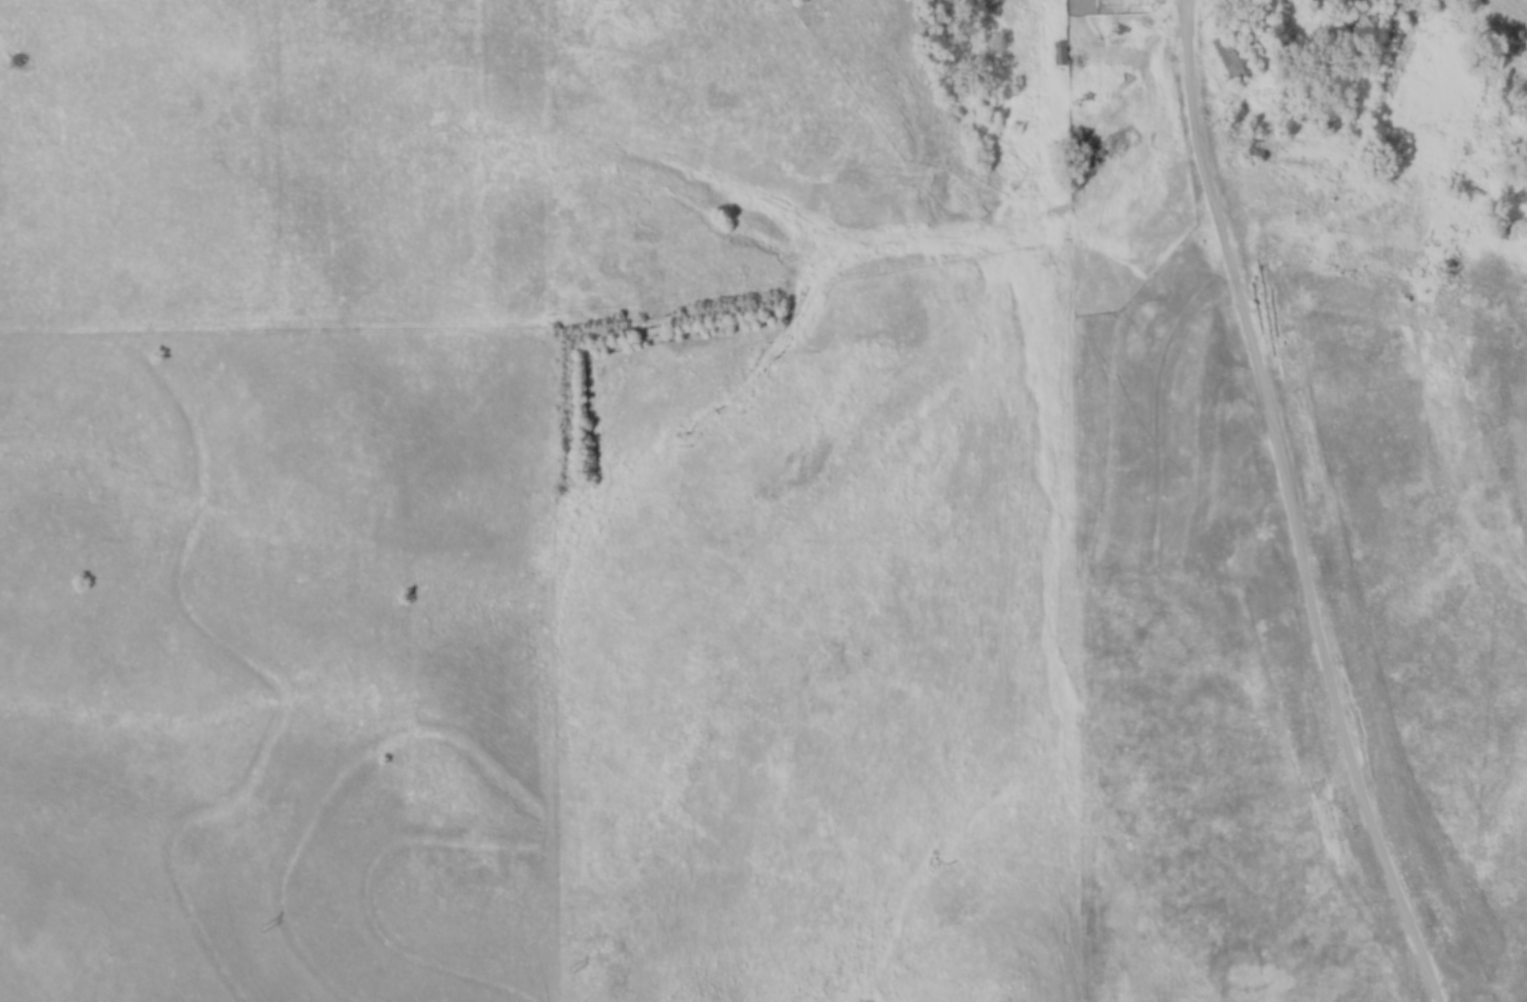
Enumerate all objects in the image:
building: (1061, 51)
building: (1237, 53)
road: (1291, 507)

